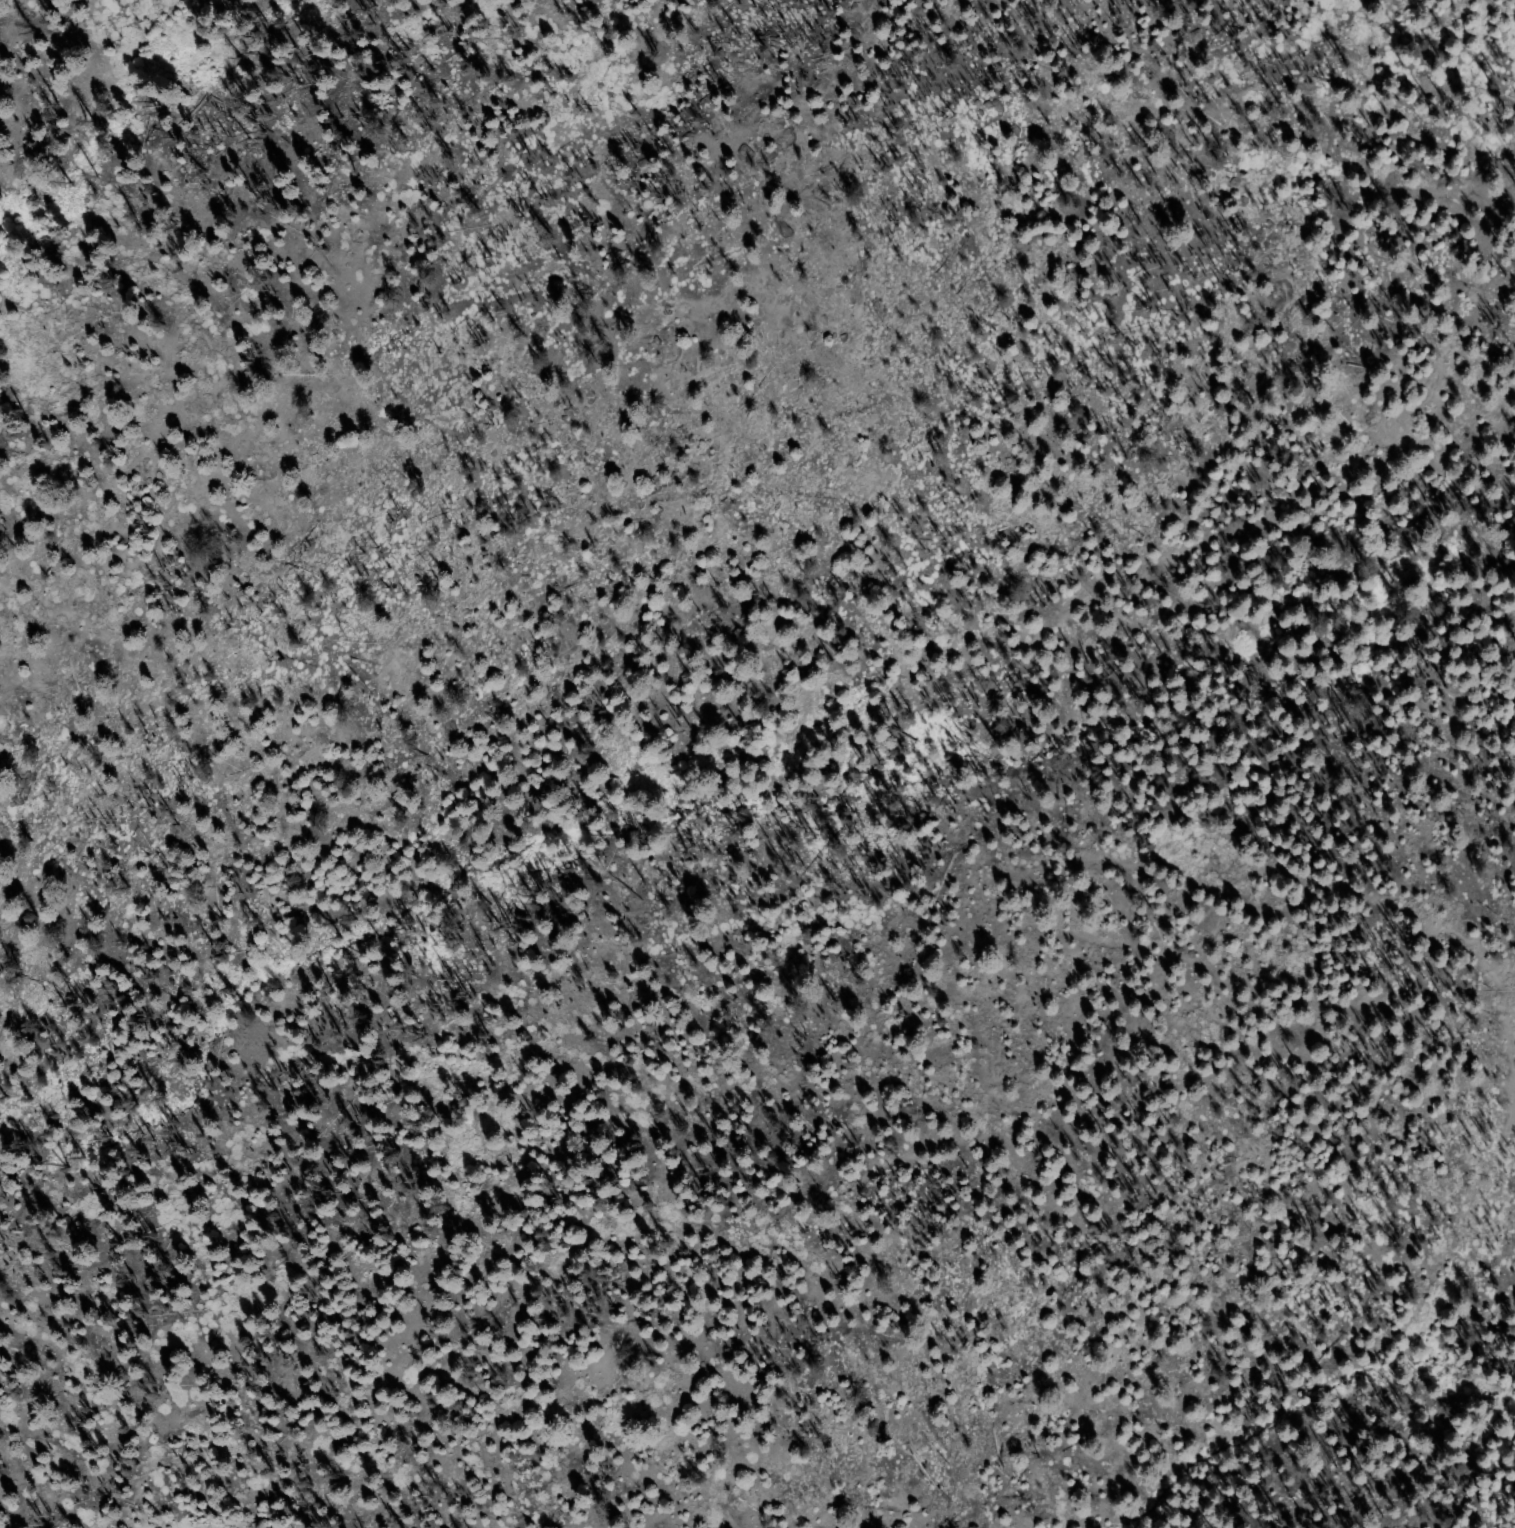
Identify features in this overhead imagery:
road: (815, 899)
quarry: (192, 1518)

